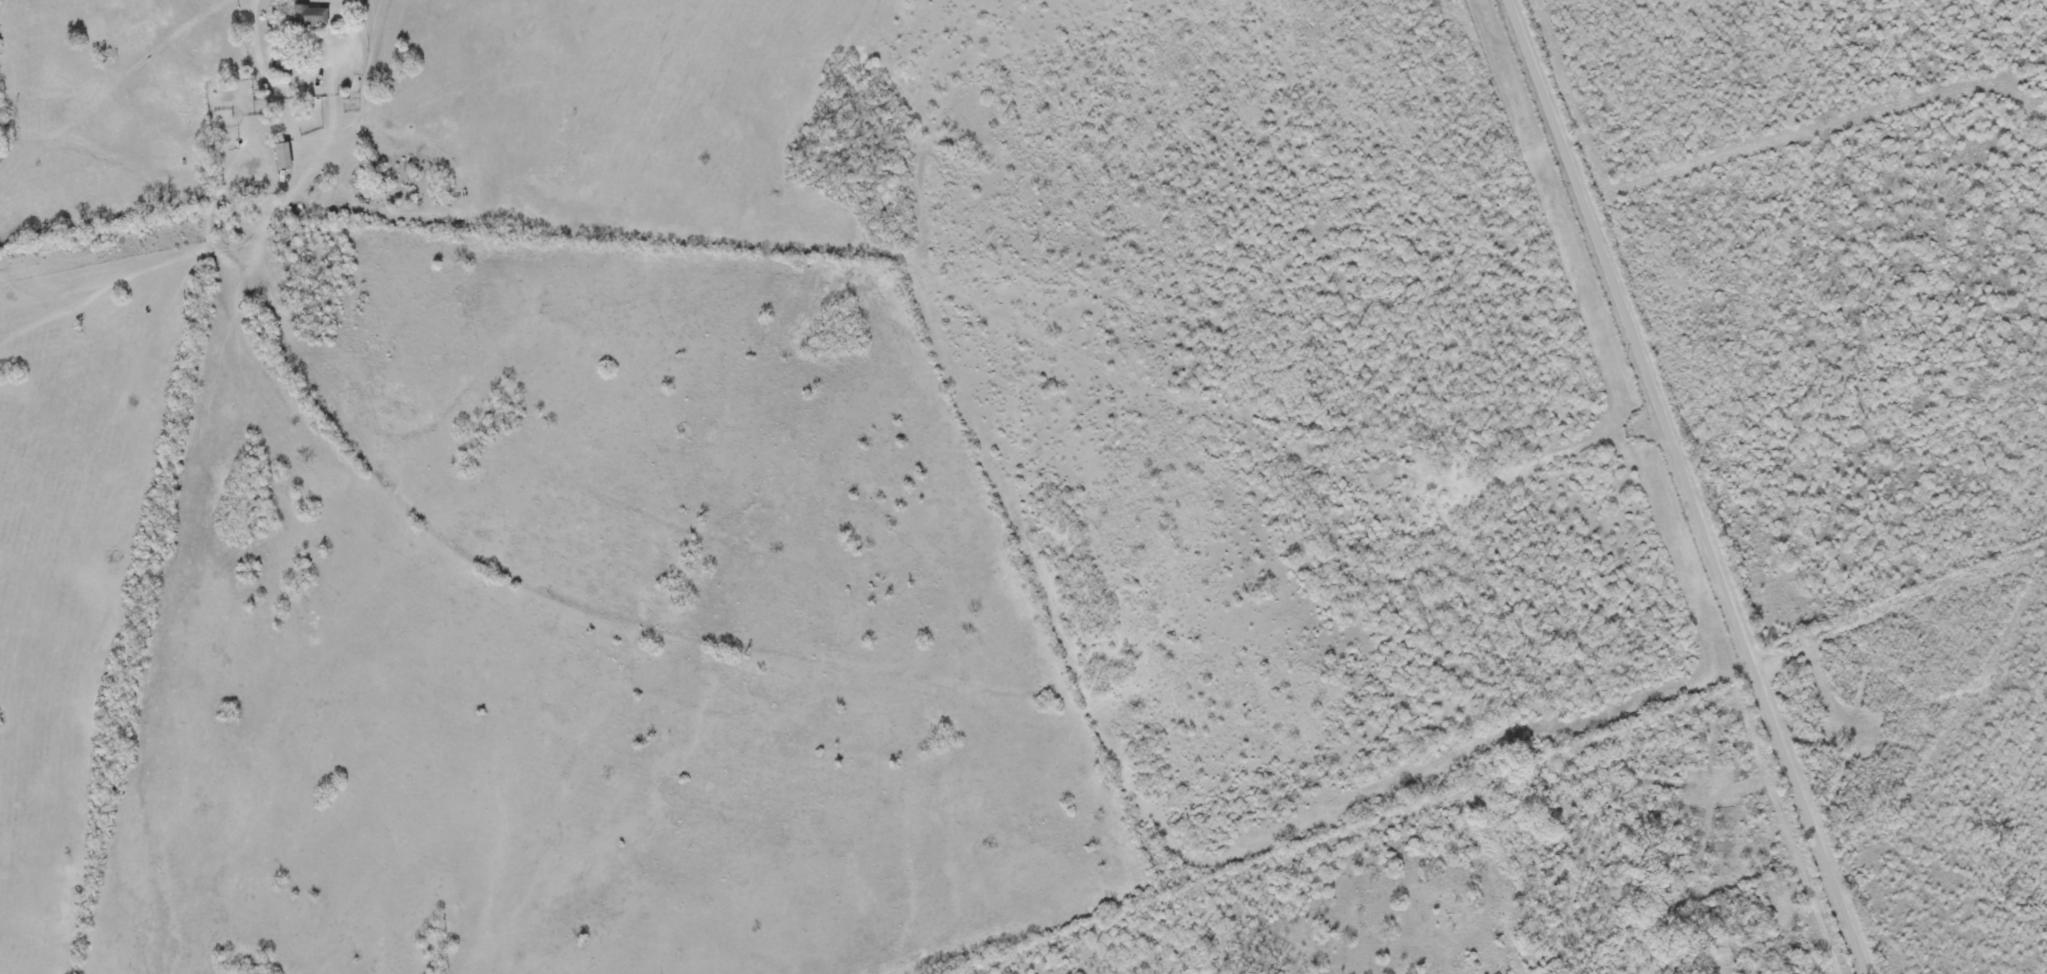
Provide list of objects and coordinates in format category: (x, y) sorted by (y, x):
building: (307, 15)
building: (278, 155)
road: (1687, 487)

